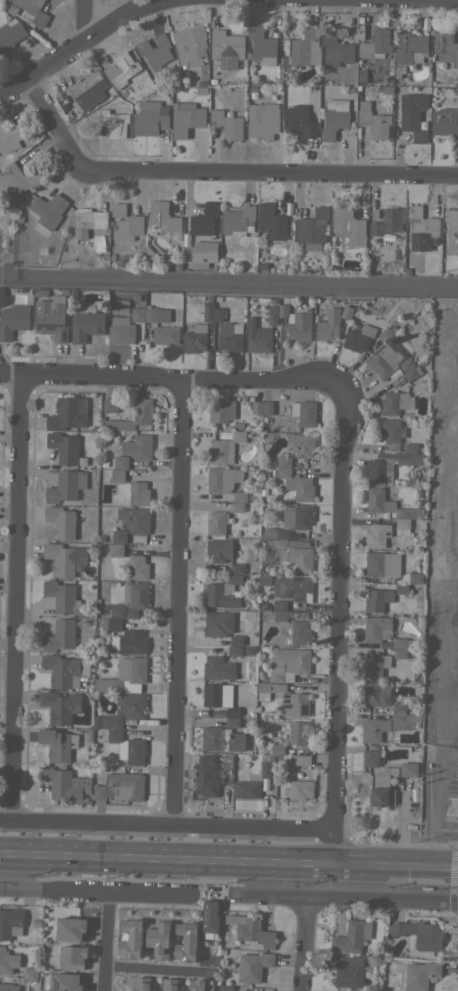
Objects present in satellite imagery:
building: (32, 11)
road: (85, 20)
building: (10, 34)
building: (376, 44)
road: (78, 45)
building: (190, 45)
building: (261, 45)
building: (445, 46)
building: (226, 48)
building: (410, 48)
building: (303, 50)
building: (336, 50)
building: (155, 51)
building: (121, 69)
building: (88, 90)
building: (412, 115)
building: (186, 118)
building: (334, 118)
building: (150, 120)
building: (263, 120)
building: (374, 121)
building: (445, 122)
building: (113, 123)
building: (298, 123)
building: (227, 124)
building: (12, 137)
road: (217, 174)
building: (18, 179)
building: (48, 210)
building: (204, 218)
building: (88, 221)
building: (164, 221)
building: (238, 221)
building: (388, 221)
building: (271, 222)
building: (126, 223)
building: (347, 225)
building: (452, 225)
building: (312, 229)
building: (421, 229)
building: (397, 237)
building: (142, 240)
building: (142, 247)
building: (380, 251)
building: (149, 252)
building: (201, 253)
building: (260, 253)
building: (143, 254)
building: (150, 259)
building: (332, 260)
building: (165, 262)
building: (407, 271)
railway: (229, 274)
railway: (228, 286)
building: (1, 295)
building: (273, 301)
building: (118, 305)
building: (208, 311)
building: (346, 311)
building: (137, 314)
building: (157, 314)
building: (218, 314)
building: (272, 314)
building: (51, 317)
building: (13, 320)
building: (342, 322)
building: (85, 323)
building: (296, 323)
building: (327, 324)
building: (121, 330)
building: (384, 333)
building: (165, 335)
building: (231, 337)
building: (258, 337)
building: (359, 338)
building: (195, 339)
building: (384, 361)
building: (406, 364)
building: (412, 373)
road: (169, 380)
building: (395, 402)
building: (109, 405)
building: (256, 407)
building: (267, 407)
building: (221, 411)
building: (304, 412)
building: (67, 413)
building: (134, 416)
building: (237, 425)
building: (392, 432)
building: (302, 444)
building: (138, 447)
building: (65, 448)
building: (224, 448)
building: (411, 448)
building: (421, 448)
building: (283, 461)
building: (121, 462)
building: (103, 463)
building: (388, 465)
building: (272, 471)
building: (283, 472)
building: (117, 475)
building: (223, 479)
building: (65, 486)
building: (300, 488)
building: (262, 489)
building: (137, 492)
building: (239, 496)
building: (378, 500)
building: (237, 507)
building: (408, 512)
building: (134, 520)
building: (61, 522)
building: (216, 522)
building: (291, 522)
building: (403, 526)
building: (377, 535)
building: (119, 536)
building: (99, 538)
building: (116, 549)
building: (219, 549)
building: (293, 553)
building: (63, 558)
building: (382, 563)
building: (136, 567)
building: (237, 568)
building: (415, 577)
building: (264, 578)
building: (293, 588)
building: (402, 588)
road: (449, 592)
building: (223, 593)
building: (136, 595)
building: (62, 597)
road: (17, 599)
building: (376, 600)
road: (179, 604)
building: (248, 605)
building: (279, 605)
building: (117, 610)
building: (280, 615)
building: (218, 623)
building: (112, 624)
road: (339, 625)
building: (376, 628)
building: (300, 633)
building: (60, 635)
building: (236, 640)
building: (132, 642)
building: (399, 642)
building: (385, 645)
building: (234, 650)
building: (249, 651)
building: (400, 653)
building: (290, 664)
building: (375, 665)
building: (218, 668)
building: (63, 669)
road: (440, 672)
building: (124, 675)
road: (449, 688)
building: (268, 689)
building: (376, 693)
building: (215, 694)
building: (294, 704)
building: (130, 705)
building: (60, 706)
building: (398, 707)
building: (232, 712)
building: (250, 714)
building: (403, 720)
building: (107, 721)
building: (232, 722)
building: (373, 729)
building: (296, 732)
building: (221, 739)
building: (58, 744)
building: (128, 746)
building: (277, 749)
building: (371, 757)
building: (270, 759)
building: (226, 760)
building: (293, 760)
building: (303, 760)
building: (408, 769)
building: (266, 770)
building: (209, 775)
building: (250, 777)
building: (64, 783)
building: (120, 787)
building: (382, 787)
building: (246, 789)
building: (299, 789)
road: (433, 807)
road: (167, 827)
road: (445, 830)
road: (229, 861)
road: (90, 893)
road: (342, 901)
building: (205, 918)
building: (10, 922)
building: (395, 928)
building: (64, 931)
building: (254, 931)
building: (351, 936)
building: (429, 937)
road: (103, 941)
building: (123, 941)
road: (306, 946)
building: (82, 956)
building: (66, 959)
building: (7, 960)
building: (253, 966)
road: (149, 970)
building: (347, 970)
building: (29, 973)
building: (418, 975)
building: (62, 983)
building: (188, 986)
building: (8, 987)
building: (225, 987)
building: (205, 989)

